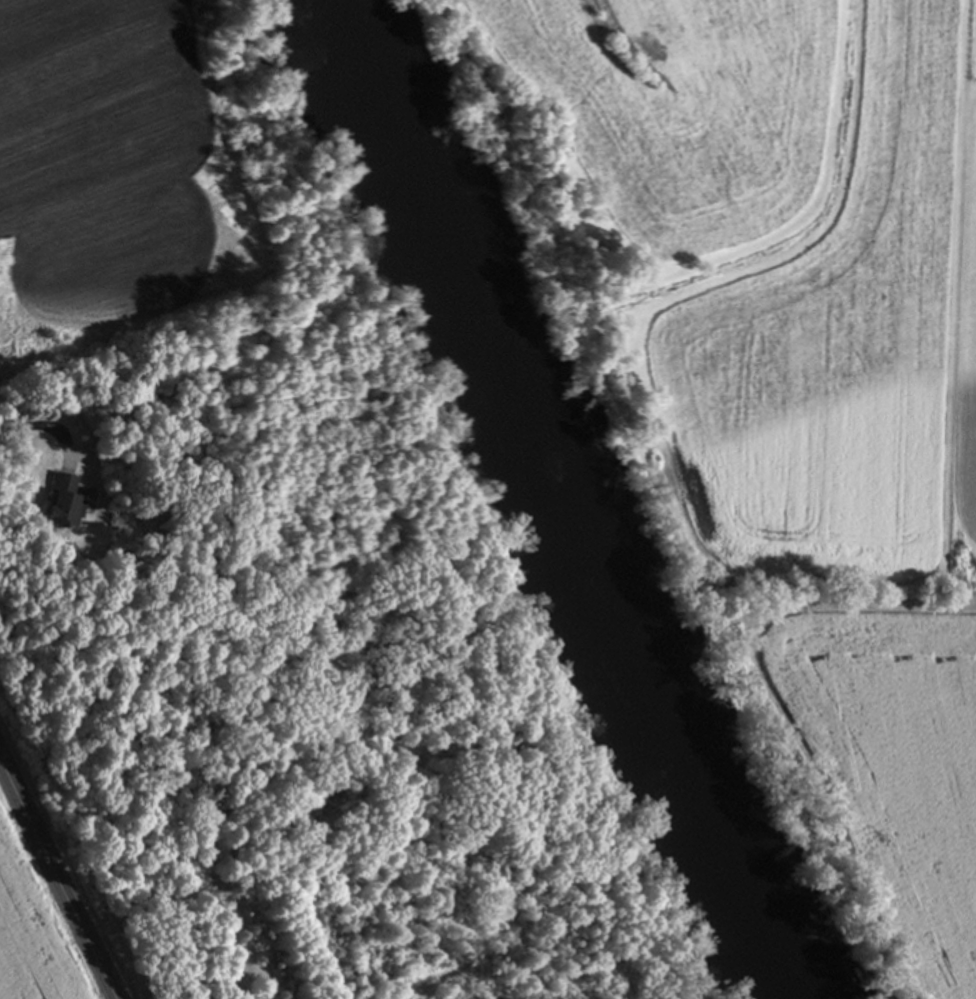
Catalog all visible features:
road: (33, 434)
river: (548, 501)
building: (63, 504)
road: (56, 886)

